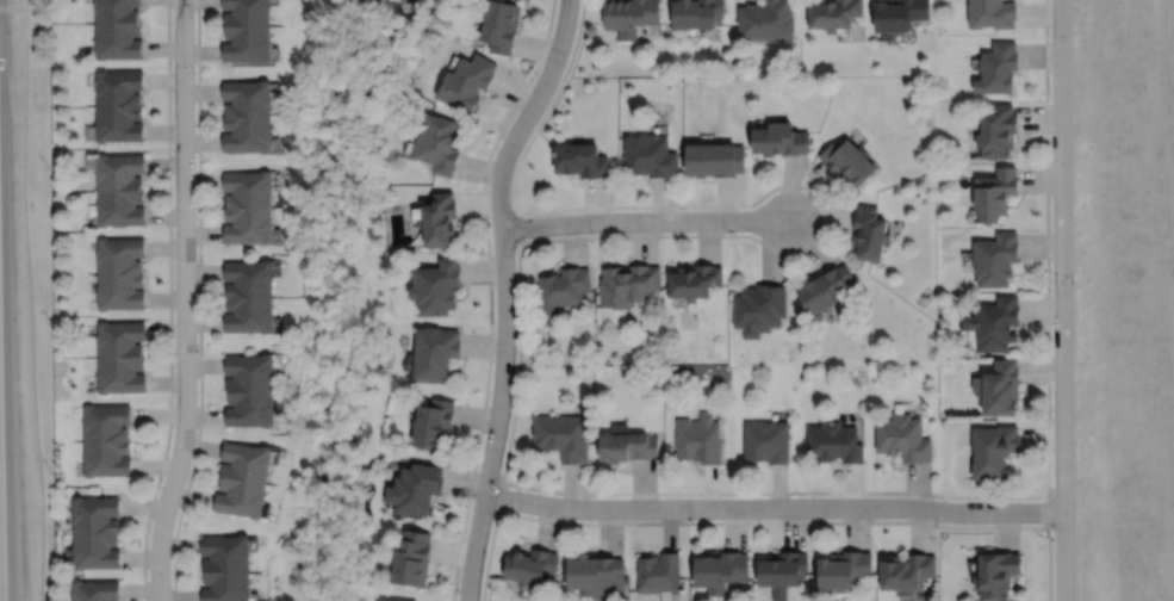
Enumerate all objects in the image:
road: (13, 7)
building: (696, 13)
building: (833, 13)
building: (993, 13)
building: (900, 14)
building: (632, 16)
building: (765, 20)
building: (501, 25)
building: (118, 29)
building: (247, 30)
street lamp: (1049, 33)
building: (998, 68)
street lamp: (194, 72)
street lamp: (535, 73)
building: (466, 81)
building: (119, 105)
building: (247, 116)
building: (998, 131)
building: (779, 140)
building: (437, 144)
building: (650, 155)
building: (582, 160)
building: (714, 160)
building: (849, 161)
street lamp: (1050, 162)
street lamp: (487, 182)
building: (120, 190)
building: (995, 193)
building: (247, 207)
street lamp: (820, 209)
road: (824, 217)
building: (440, 219)
road: (644, 219)
street lamp: (727, 231)
street lamp: (172, 233)
street lamp: (594, 233)
building: (870, 234)
building: (996, 259)
building: (122, 273)
building: (694, 283)
building: (628, 285)
building: (436, 286)
building: (564, 287)
building: (827, 290)
street lamp: (1051, 291)
road: (504, 293)
road: (490, 295)
road: (518, 295)
building: (248, 297)
road: (30, 300)
road: (1046, 300)
road: (1062, 300)
road: (169, 302)
road: (184, 302)
road: (199, 302)
building: (759, 309)
street lamp: (493, 322)
building: (995, 324)
street lamp: (195, 351)
building: (435, 354)
building: (122, 358)
building: (249, 389)
building: (1000, 389)
street lamp: (1051, 419)
building: (433, 425)
building: (563, 438)
building: (698, 439)
building: (903, 439)
building: (105, 440)
building: (766, 441)
building: (833, 444)
building: (626, 445)
building: (994, 452)
road: (6, 457)
street lamp: (477, 464)
building: (242, 477)
street lamp: (162, 478)
building: (416, 487)
road: (775, 491)
street lamp: (801, 495)
street lamp: (594, 496)
road: (774, 507)
street lamp: (694, 520)
road: (771, 521)
street lamp: (938, 521)
building: (93, 529)
street lamp: (1052, 537)
building: (412, 557)
building: (530, 564)
building: (225, 566)
building: (719, 568)
building: (782, 568)
building: (843, 568)
building: (907, 570)
building: (658, 571)
building: (996, 572)
building: (595, 574)
building: (93, 589)
street lamp: (456, 593)
building: (398, 599)

